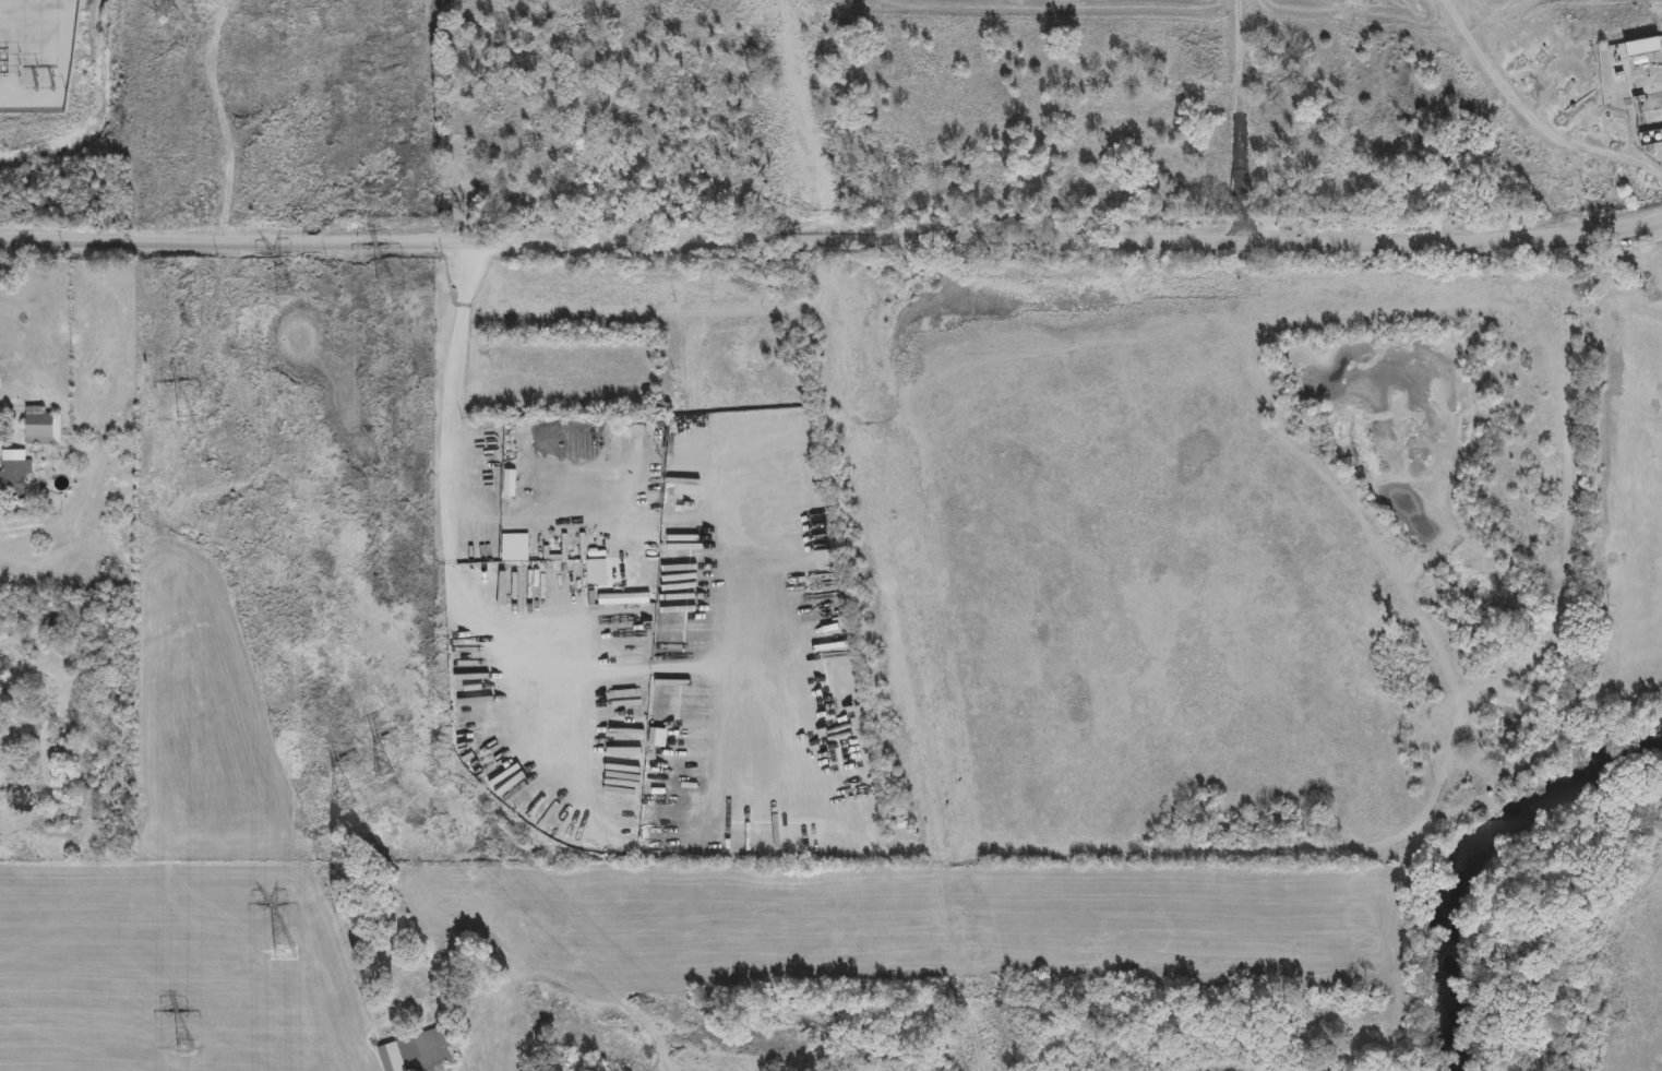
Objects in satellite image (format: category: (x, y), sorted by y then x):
power tower: (170, 20)
power substation: (36, 53)
power tower: (50, 88)
road: (1235, 121)
building: (1652, 139)
road: (832, 239)
power tower: (384, 279)
power tower: (286, 290)
power tower: (190, 420)
building: (41, 425)
building: (12, 473)
road: (447, 488)
road: (713, 539)
power tower: (386, 780)
power tower: (344, 795)
power tower: (287, 954)
power tower: (187, 1047)
building: (417, 1052)

